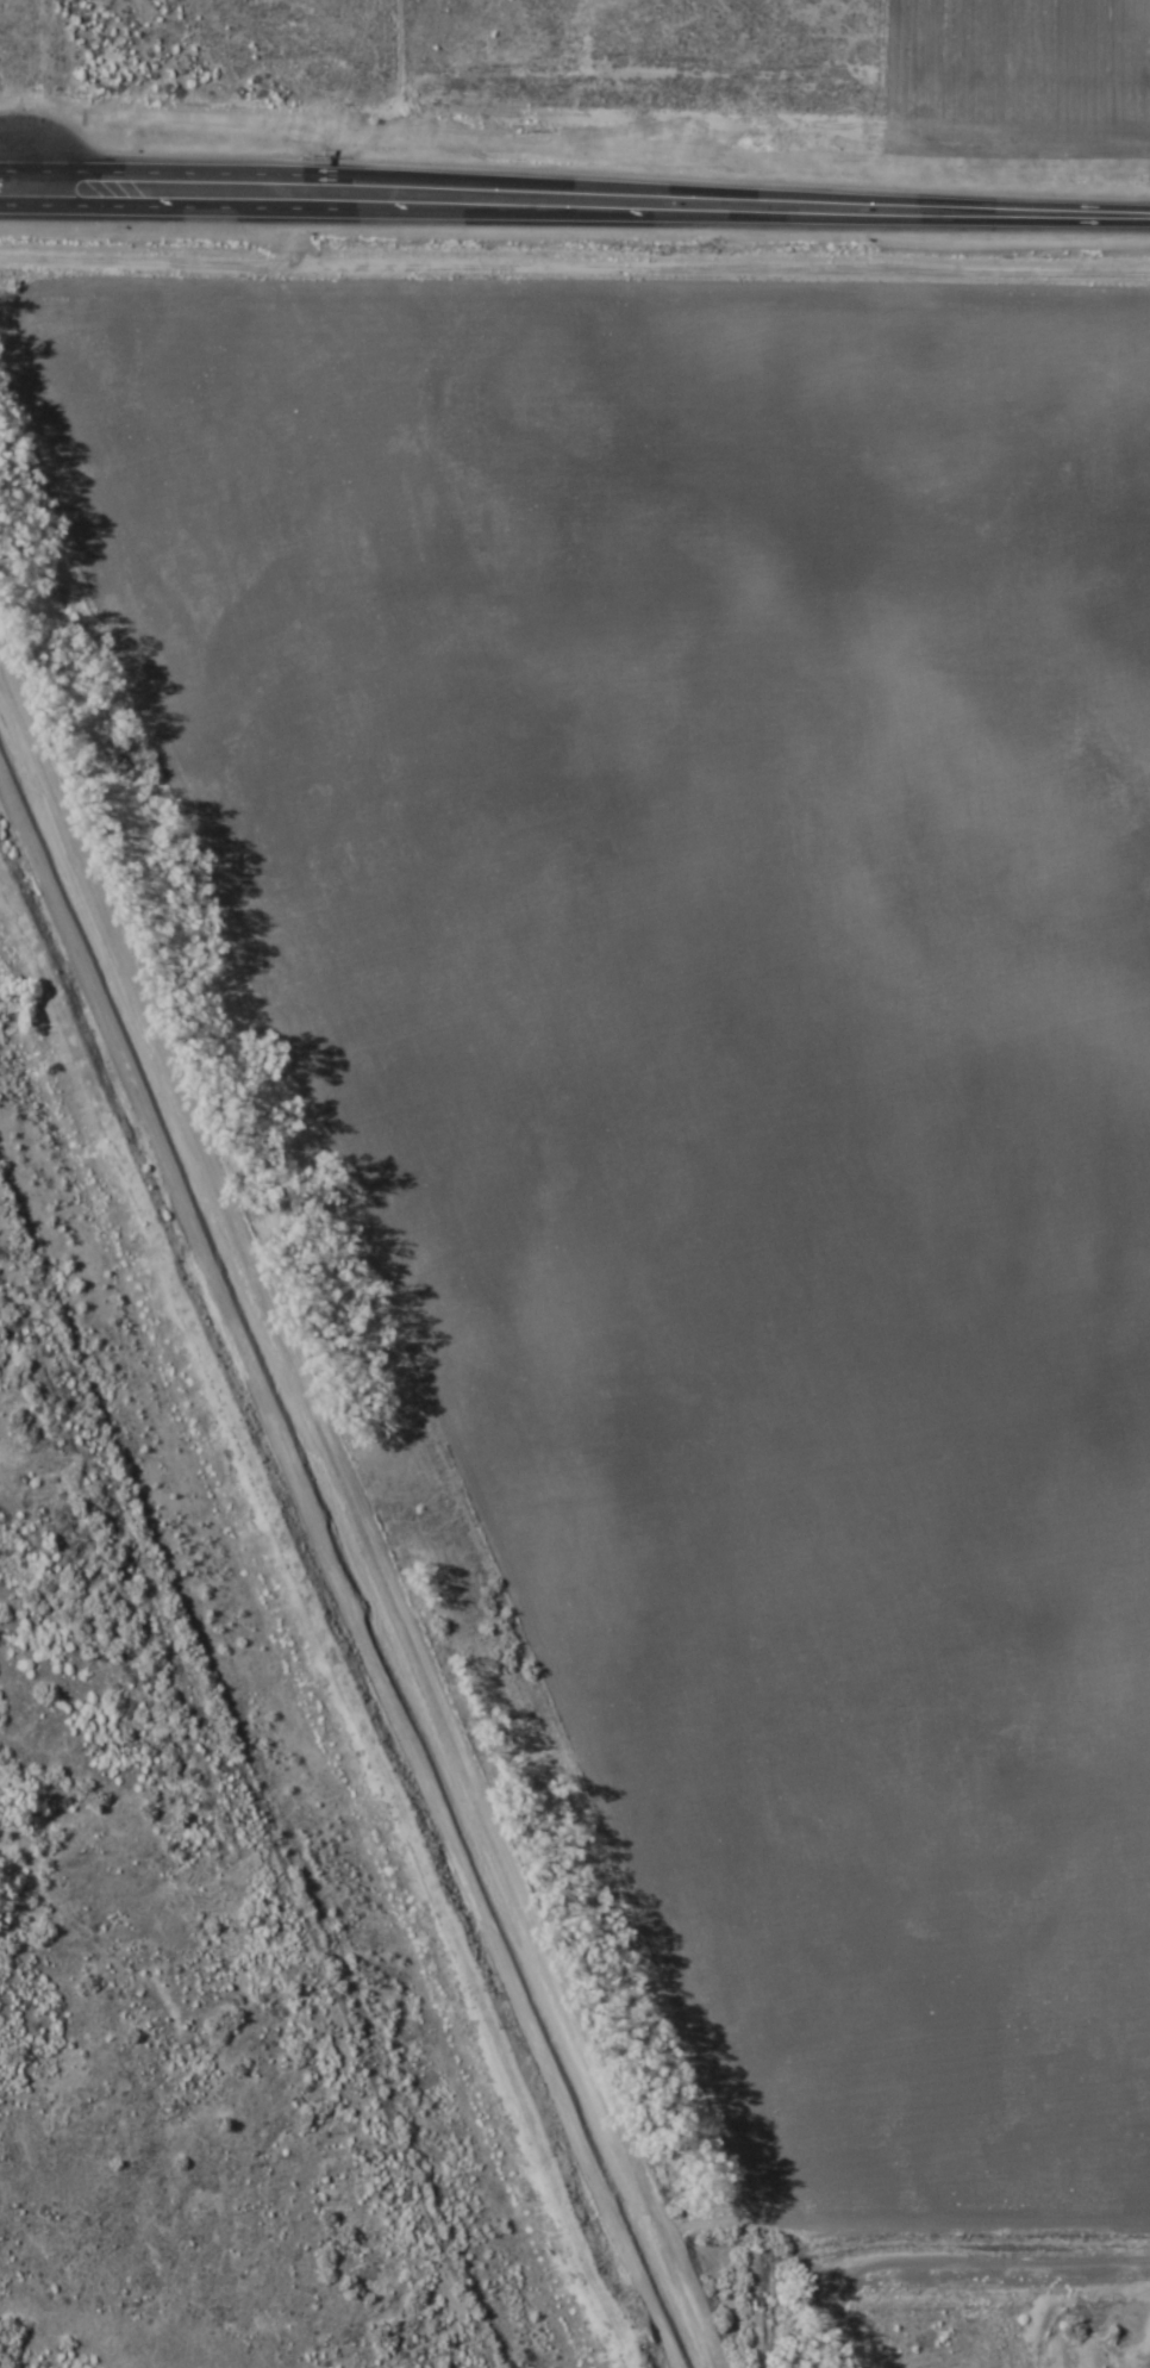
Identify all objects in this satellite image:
road: (306, 185)
road: (117, 208)
road: (423, 211)
road: (880, 216)
crop: (574, 1322)
road: (360, 1540)

